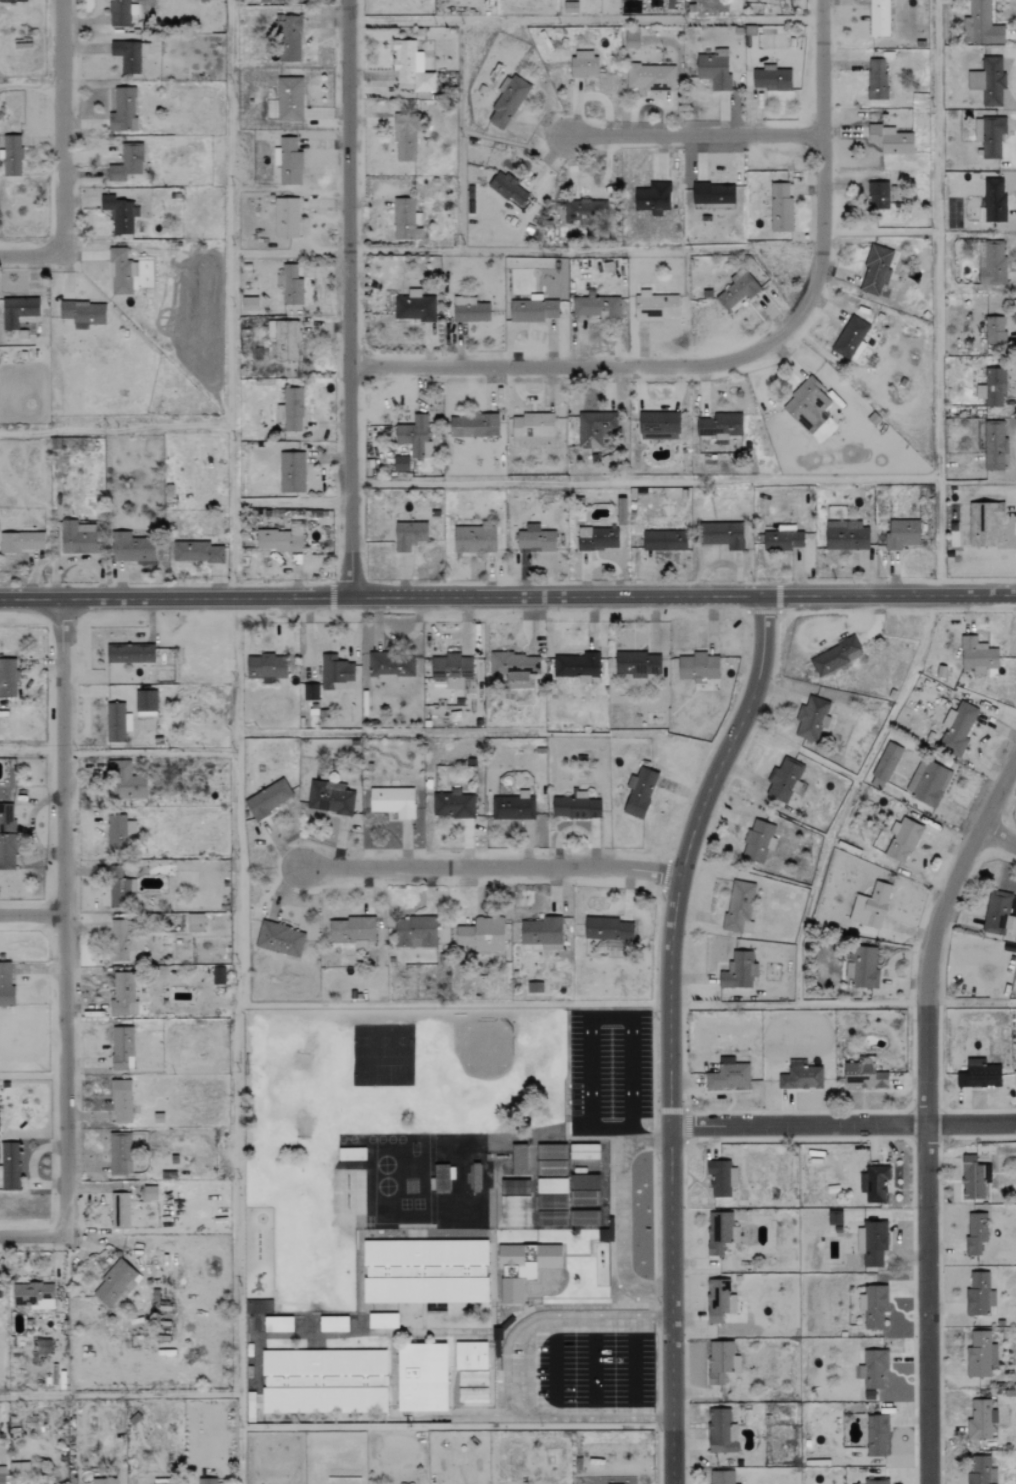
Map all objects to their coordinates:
building: (13, 1)
building: (570, 7)
building: (121, 12)
building: (879, 18)
building: (984, 24)
building: (289, 38)
building: (631, 39)
building: (129, 55)
building: (584, 64)
building: (411, 66)
building: (714, 70)
building: (650, 78)
building: (771, 79)
building: (876, 79)
building: (992, 82)
road: (31, 88)
building: (289, 99)
building: (507, 103)
building: (122, 110)
road: (62, 129)
road: (693, 135)
building: (405, 136)
building: (992, 138)
building: (890, 140)
building: (11, 155)
building: (289, 162)
building: (127, 163)
building: (713, 194)
building: (878, 196)
building: (653, 199)
building: (993, 201)
building: (780, 208)
road: (228, 211)
building: (584, 211)
building: (120, 214)
building: (286, 217)
building: (406, 220)
road: (938, 239)
road: (31, 258)
building: (993, 265)
building: (876, 269)
building: (121, 272)
building: (290, 285)
building: (736, 291)
road: (348, 297)
building: (249, 304)
building: (655, 306)
building: (413, 307)
building: (596, 307)
building: (469, 310)
building: (532, 310)
building: (17, 311)
building: (83, 313)
building: (994, 331)
building: (851, 339)
building: (284, 340)
road: (739, 356)
building: (992, 387)
building: (807, 406)
building: (290, 410)
road: (200, 424)
building: (473, 426)
building: (659, 426)
building: (720, 427)
building: (595, 429)
building: (532, 430)
building: (415, 436)
building: (994, 447)
building: (400, 464)
building: (292, 472)
road: (702, 481)
building: (621, 512)
building: (985, 525)
building: (902, 534)
building: (722, 535)
building: (409, 536)
building: (846, 536)
building: (77, 538)
building: (535, 539)
building: (597, 539)
building: (783, 539)
building: (278, 540)
building: (474, 540)
building: (664, 541)
building: (21, 542)
building: (131, 548)
building: (196, 552)
road: (507, 595)
road: (775, 612)
building: (130, 654)
building: (977, 655)
building: (835, 657)
building: (576, 665)
building: (513, 666)
building: (266, 667)
building: (390, 667)
building: (698, 667)
building: (453, 671)
building: (336, 673)
building: (7, 678)
building: (310, 692)
building: (145, 703)
building: (812, 719)
building: (116, 723)
building: (957, 729)
road: (717, 737)
road: (33, 750)
building: (884, 766)
building: (785, 780)
building: (125, 781)
building: (928, 783)
building: (639, 793)
building: (329, 798)
building: (267, 800)
building: (392, 802)
building: (453, 805)
building: (513, 807)
building: (576, 807)
building: (116, 833)
building: (7, 837)
road: (997, 837)
building: (903, 841)
building: (758, 842)
road: (698, 854)
road: (490, 865)
road: (664, 875)
building: (120, 892)
building: (871, 906)
building: (739, 907)
building: (998, 913)
road: (36, 914)
road: (73, 917)
building: (195, 922)
building: (607, 929)
building: (352, 932)
building: (415, 932)
building: (542, 932)
building: (482, 934)
building: (279, 939)
building: (125, 941)
building: (728, 950)
building: (861, 967)
building: (739, 971)
building: (218, 975)
building: (5, 984)
building: (534, 987)
building: (123, 994)
road: (655, 1000)
road: (607, 1019)
road: (670, 1031)
building: (122, 1048)
building: (864, 1074)
building: (979, 1074)
building: (728, 1075)
building: (800, 1076)
building: (121, 1101)
road: (924, 1108)
road: (236, 1110)
road: (797, 1111)
road: (939, 1111)
road: (686, 1112)
road: (843, 1125)
road: (630, 1132)
road: (797, 1138)
building: (584, 1151)
building: (120, 1153)
building: (519, 1158)
building: (551, 1159)
building: (11, 1164)
building: (973, 1177)
building: (721, 1178)
building: (441, 1180)
building: (584, 1182)
building: (874, 1183)
building: (551, 1185)
building: (149, 1193)
building: (584, 1198)
building: (518, 1202)
building: (551, 1202)
building: (120, 1211)
building: (584, 1217)
building: (553, 1218)
building: (834, 1218)
road: (620, 1232)
building: (720, 1233)
building: (976, 1233)
road: (39, 1237)
building: (874, 1243)
building: (548, 1256)
building: (425, 1271)
building: (513, 1272)
building: (528, 1272)
building: (115, 1284)
building: (0, 1289)
building: (32, 1295)
building: (979, 1295)
building: (719, 1301)
building: (258, 1306)
building: (873, 1307)
building: (382, 1320)
building: (278, 1324)
building: (333, 1324)
road: (584, 1324)
building: (42, 1346)
building: (980, 1355)
building: (470, 1356)
building: (721, 1361)
building: (873, 1369)
road: (505, 1370)
road: (554, 1371)
road: (593, 1371)
road: (633, 1371)
road: (527, 1372)
building: (421, 1377)
building: (472, 1379)
building: (324, 1381)
building: (473, 1395)
road: (532, 1411)
building: (981, 1419)
building: (721, 1431)
building: (876, 1436)
building: (982, 1476)
building: (721, 1477)
building: (2, 1479)
building: (103, 1481)
building: (206, 1481)
building: (876, 1481)
building: (173, 1483)

